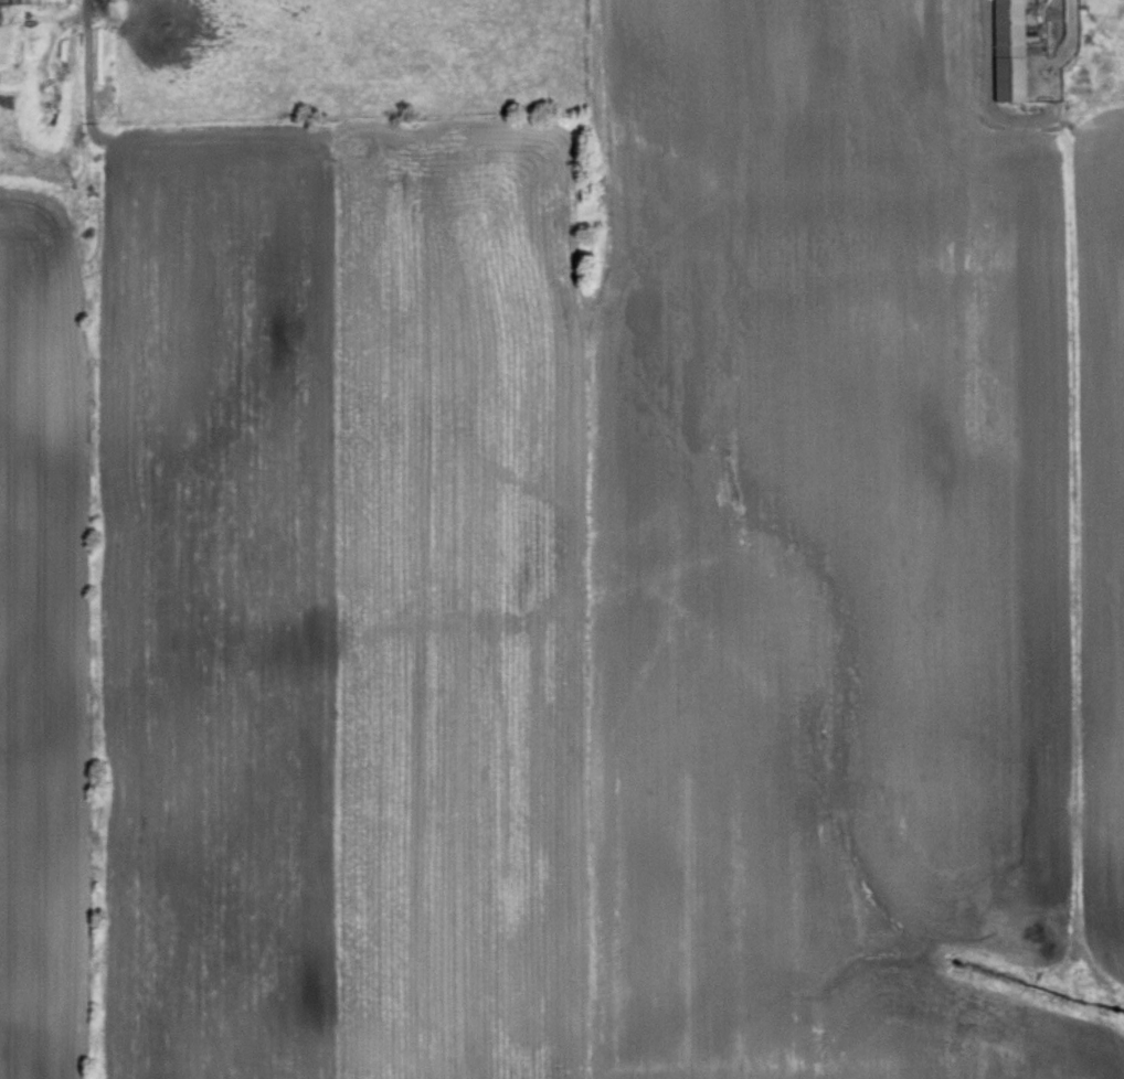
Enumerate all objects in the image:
building: (30, 0)
building: (1005, 50)

